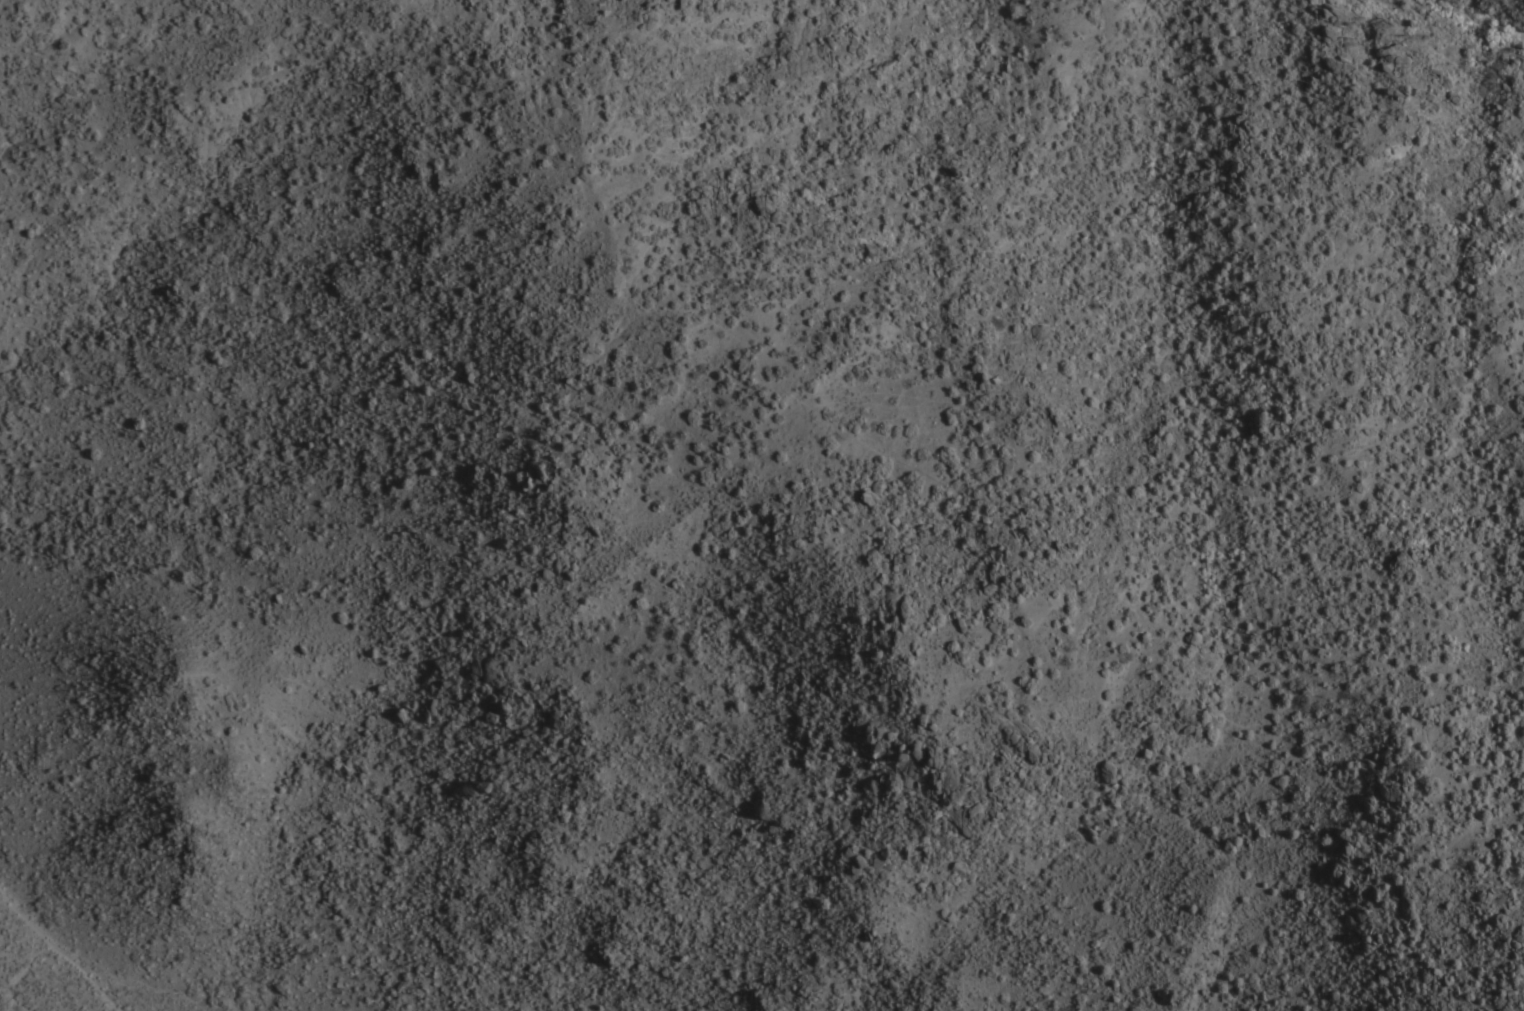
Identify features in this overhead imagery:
road: (1485, 15)
road: (59, 946)

